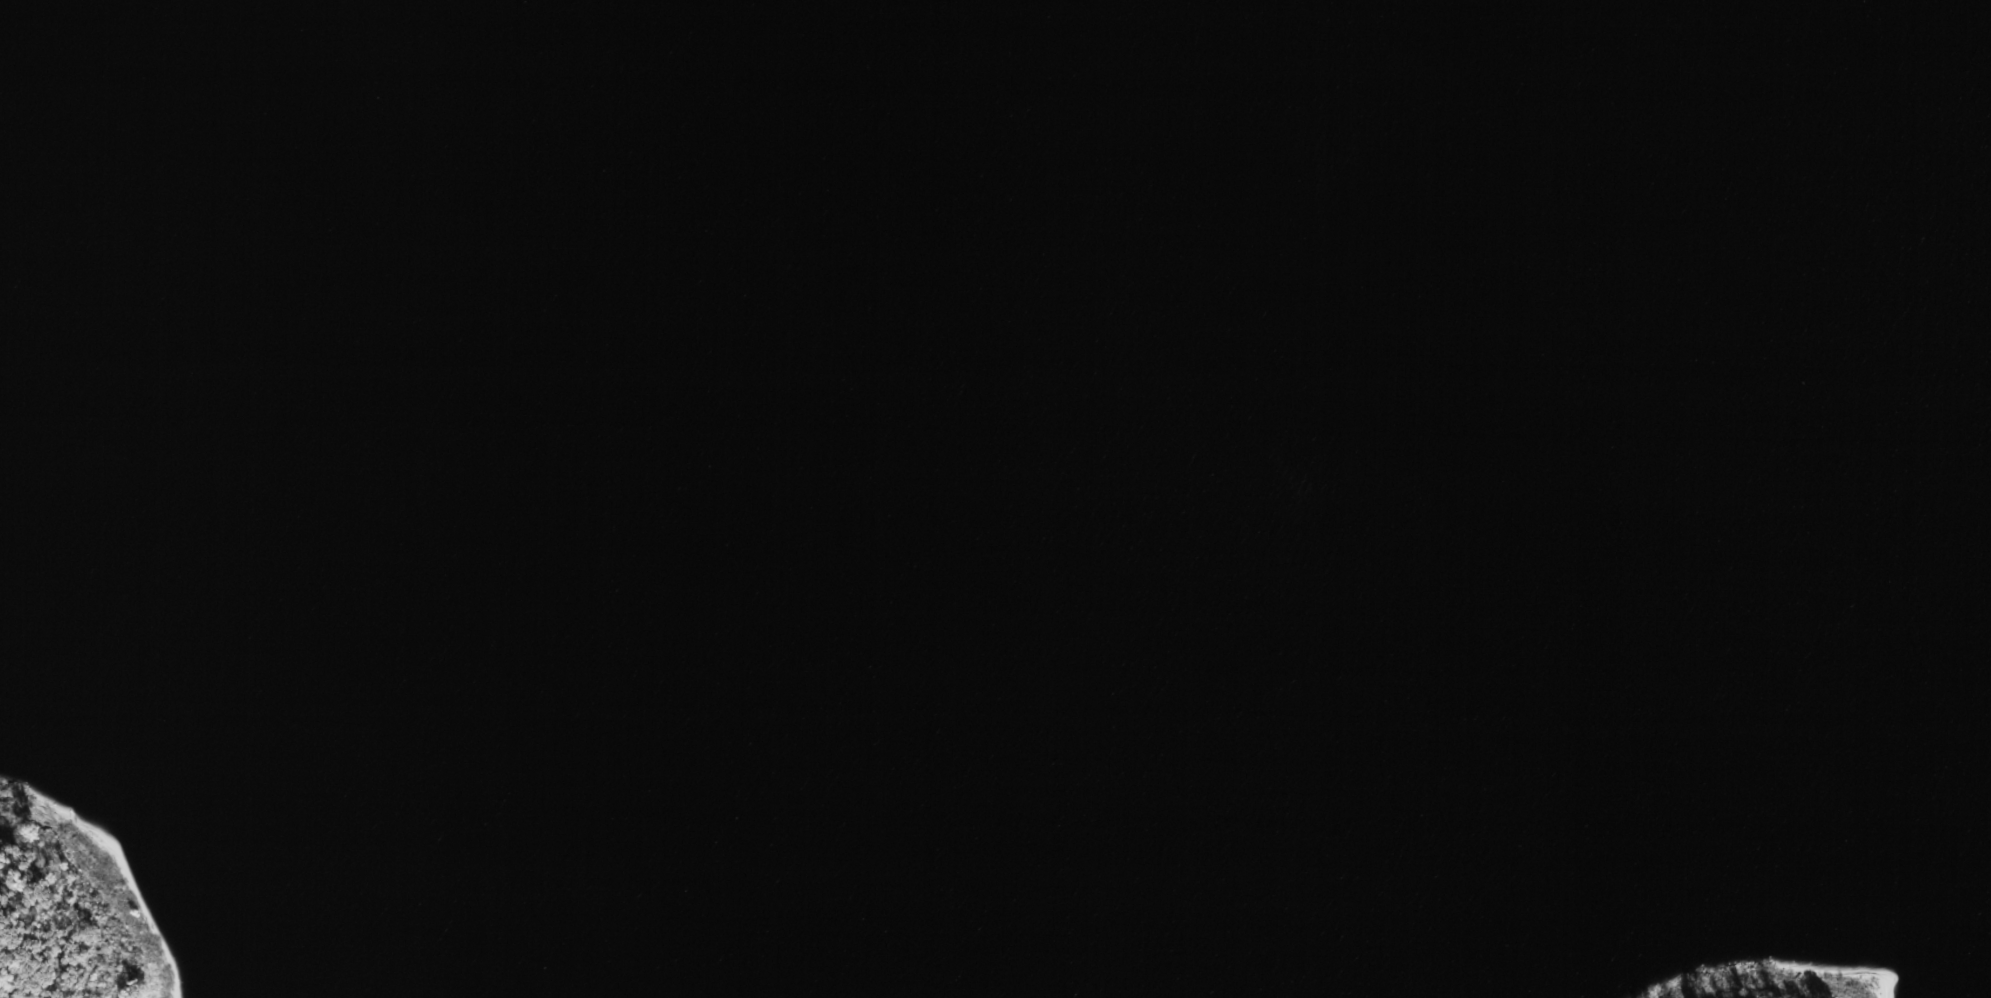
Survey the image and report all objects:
river: (1516, 61)
park: (65, 912)

